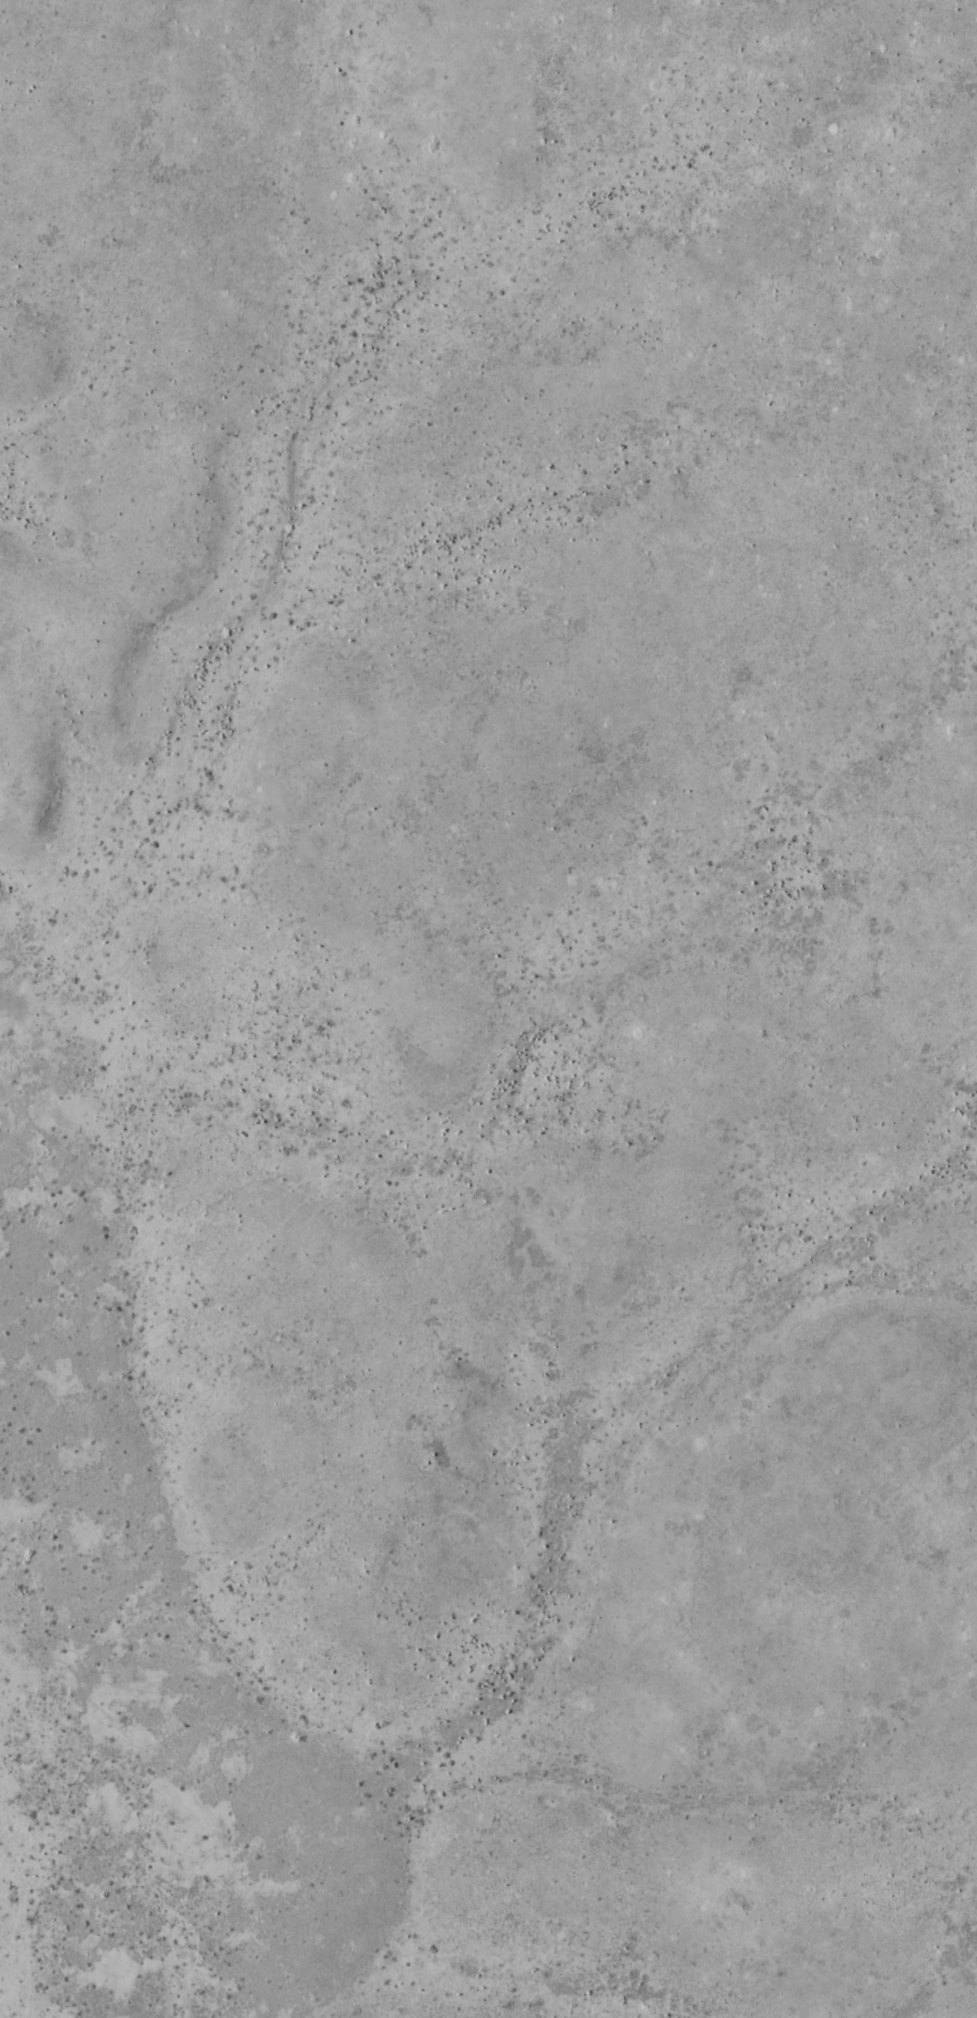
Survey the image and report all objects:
river: (158, 1592)

